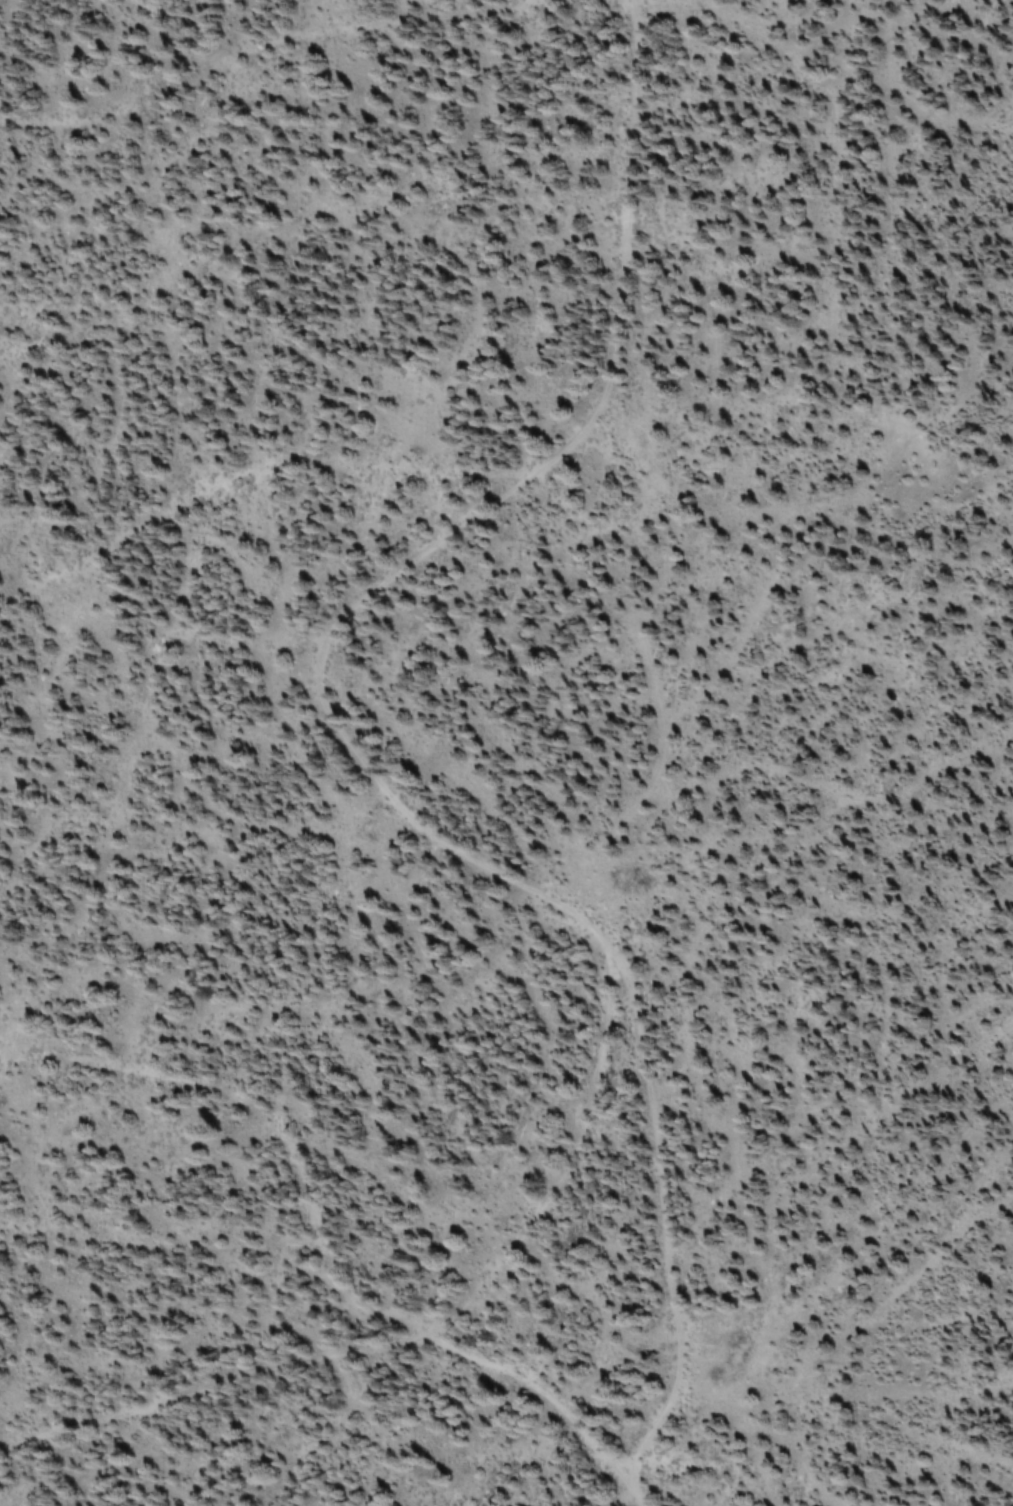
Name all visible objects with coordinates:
road: (378, 758)

